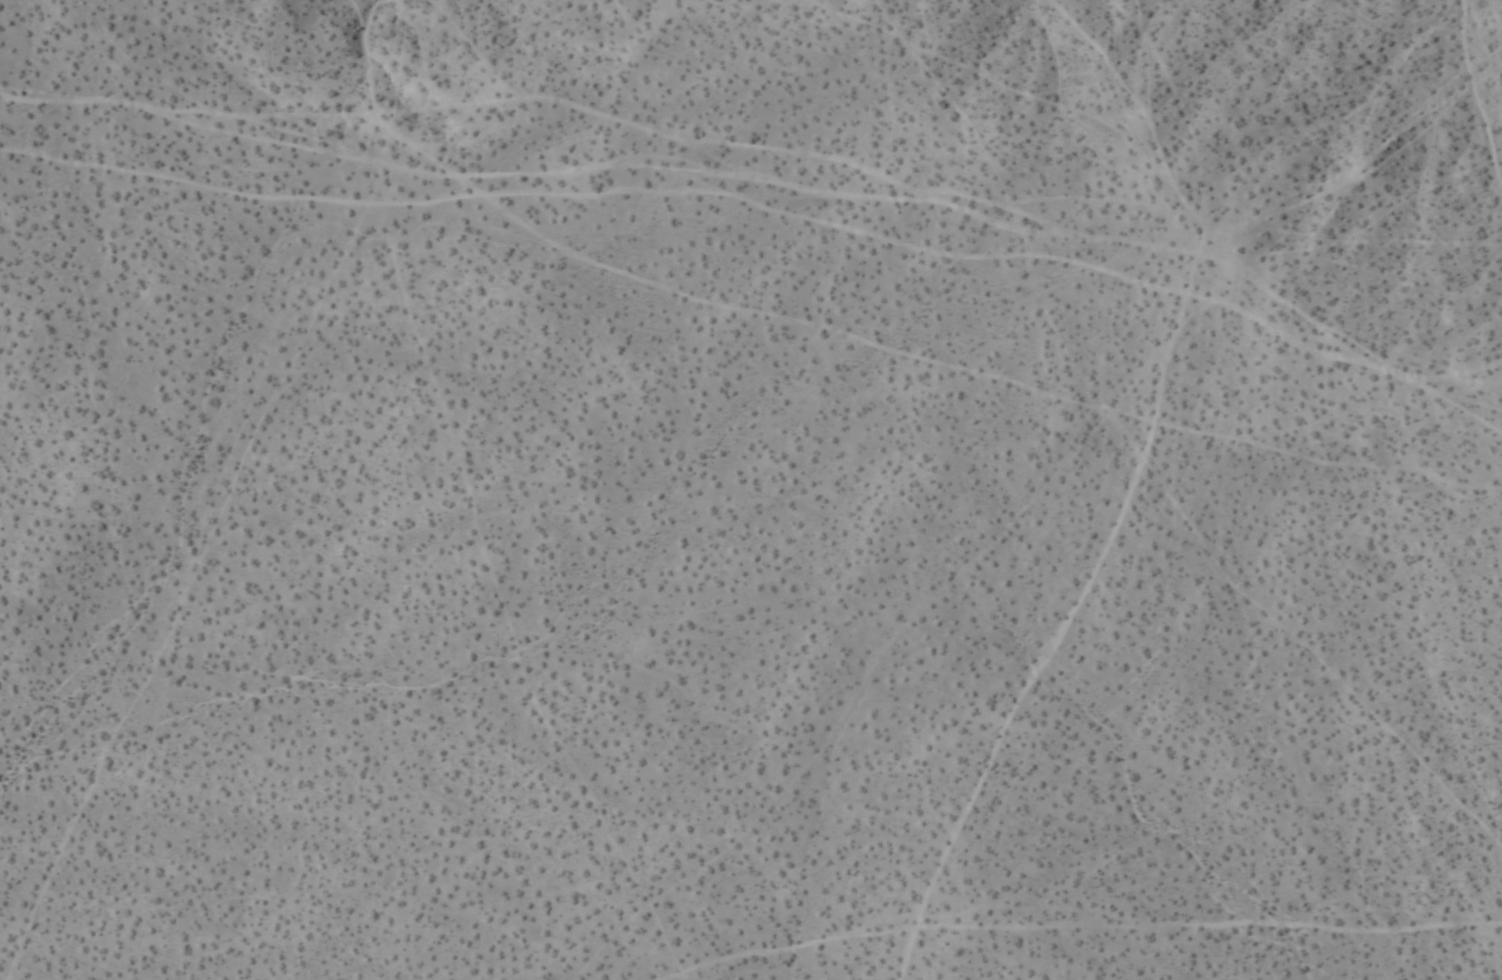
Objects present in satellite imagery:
crop: (751, 490)

